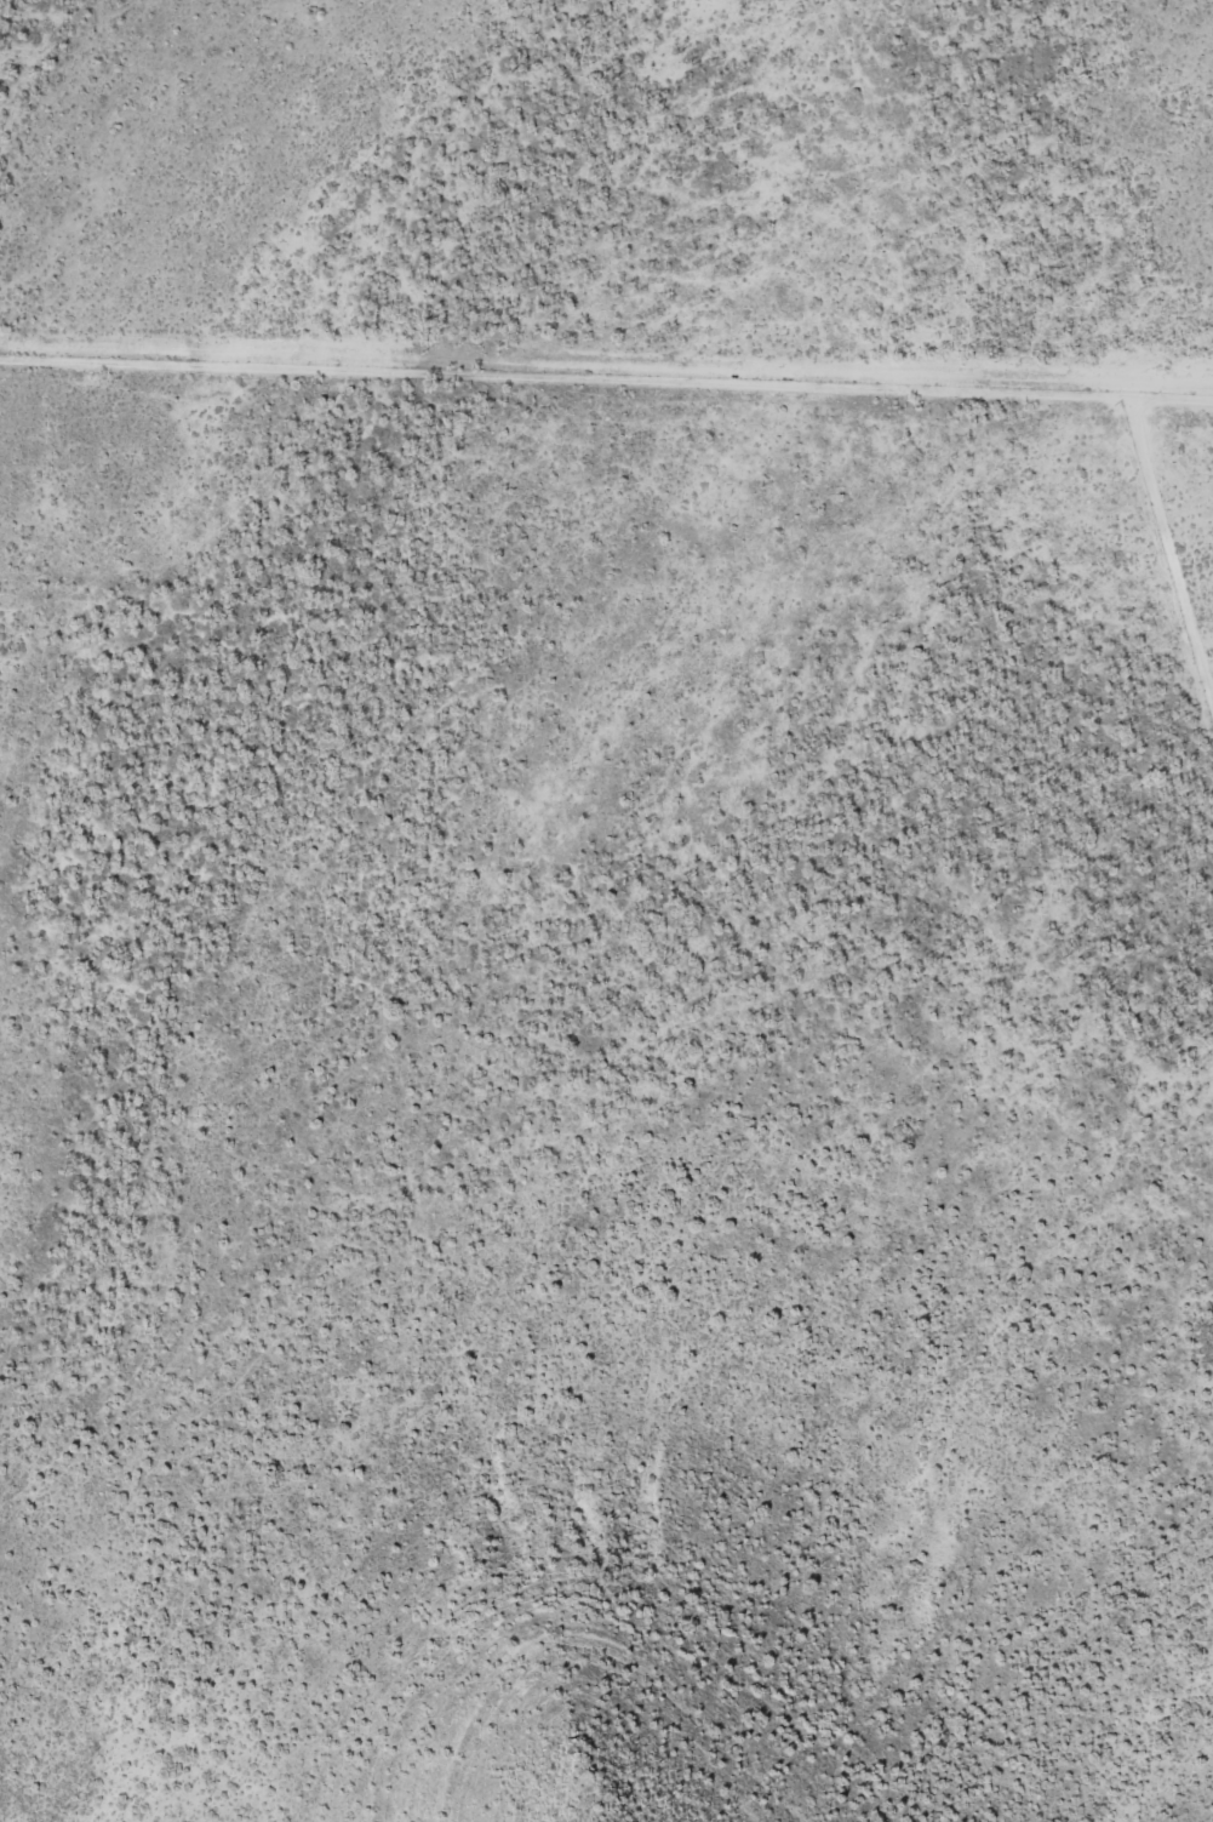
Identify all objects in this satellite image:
road: (606, 376)
road: (1173, 535)

